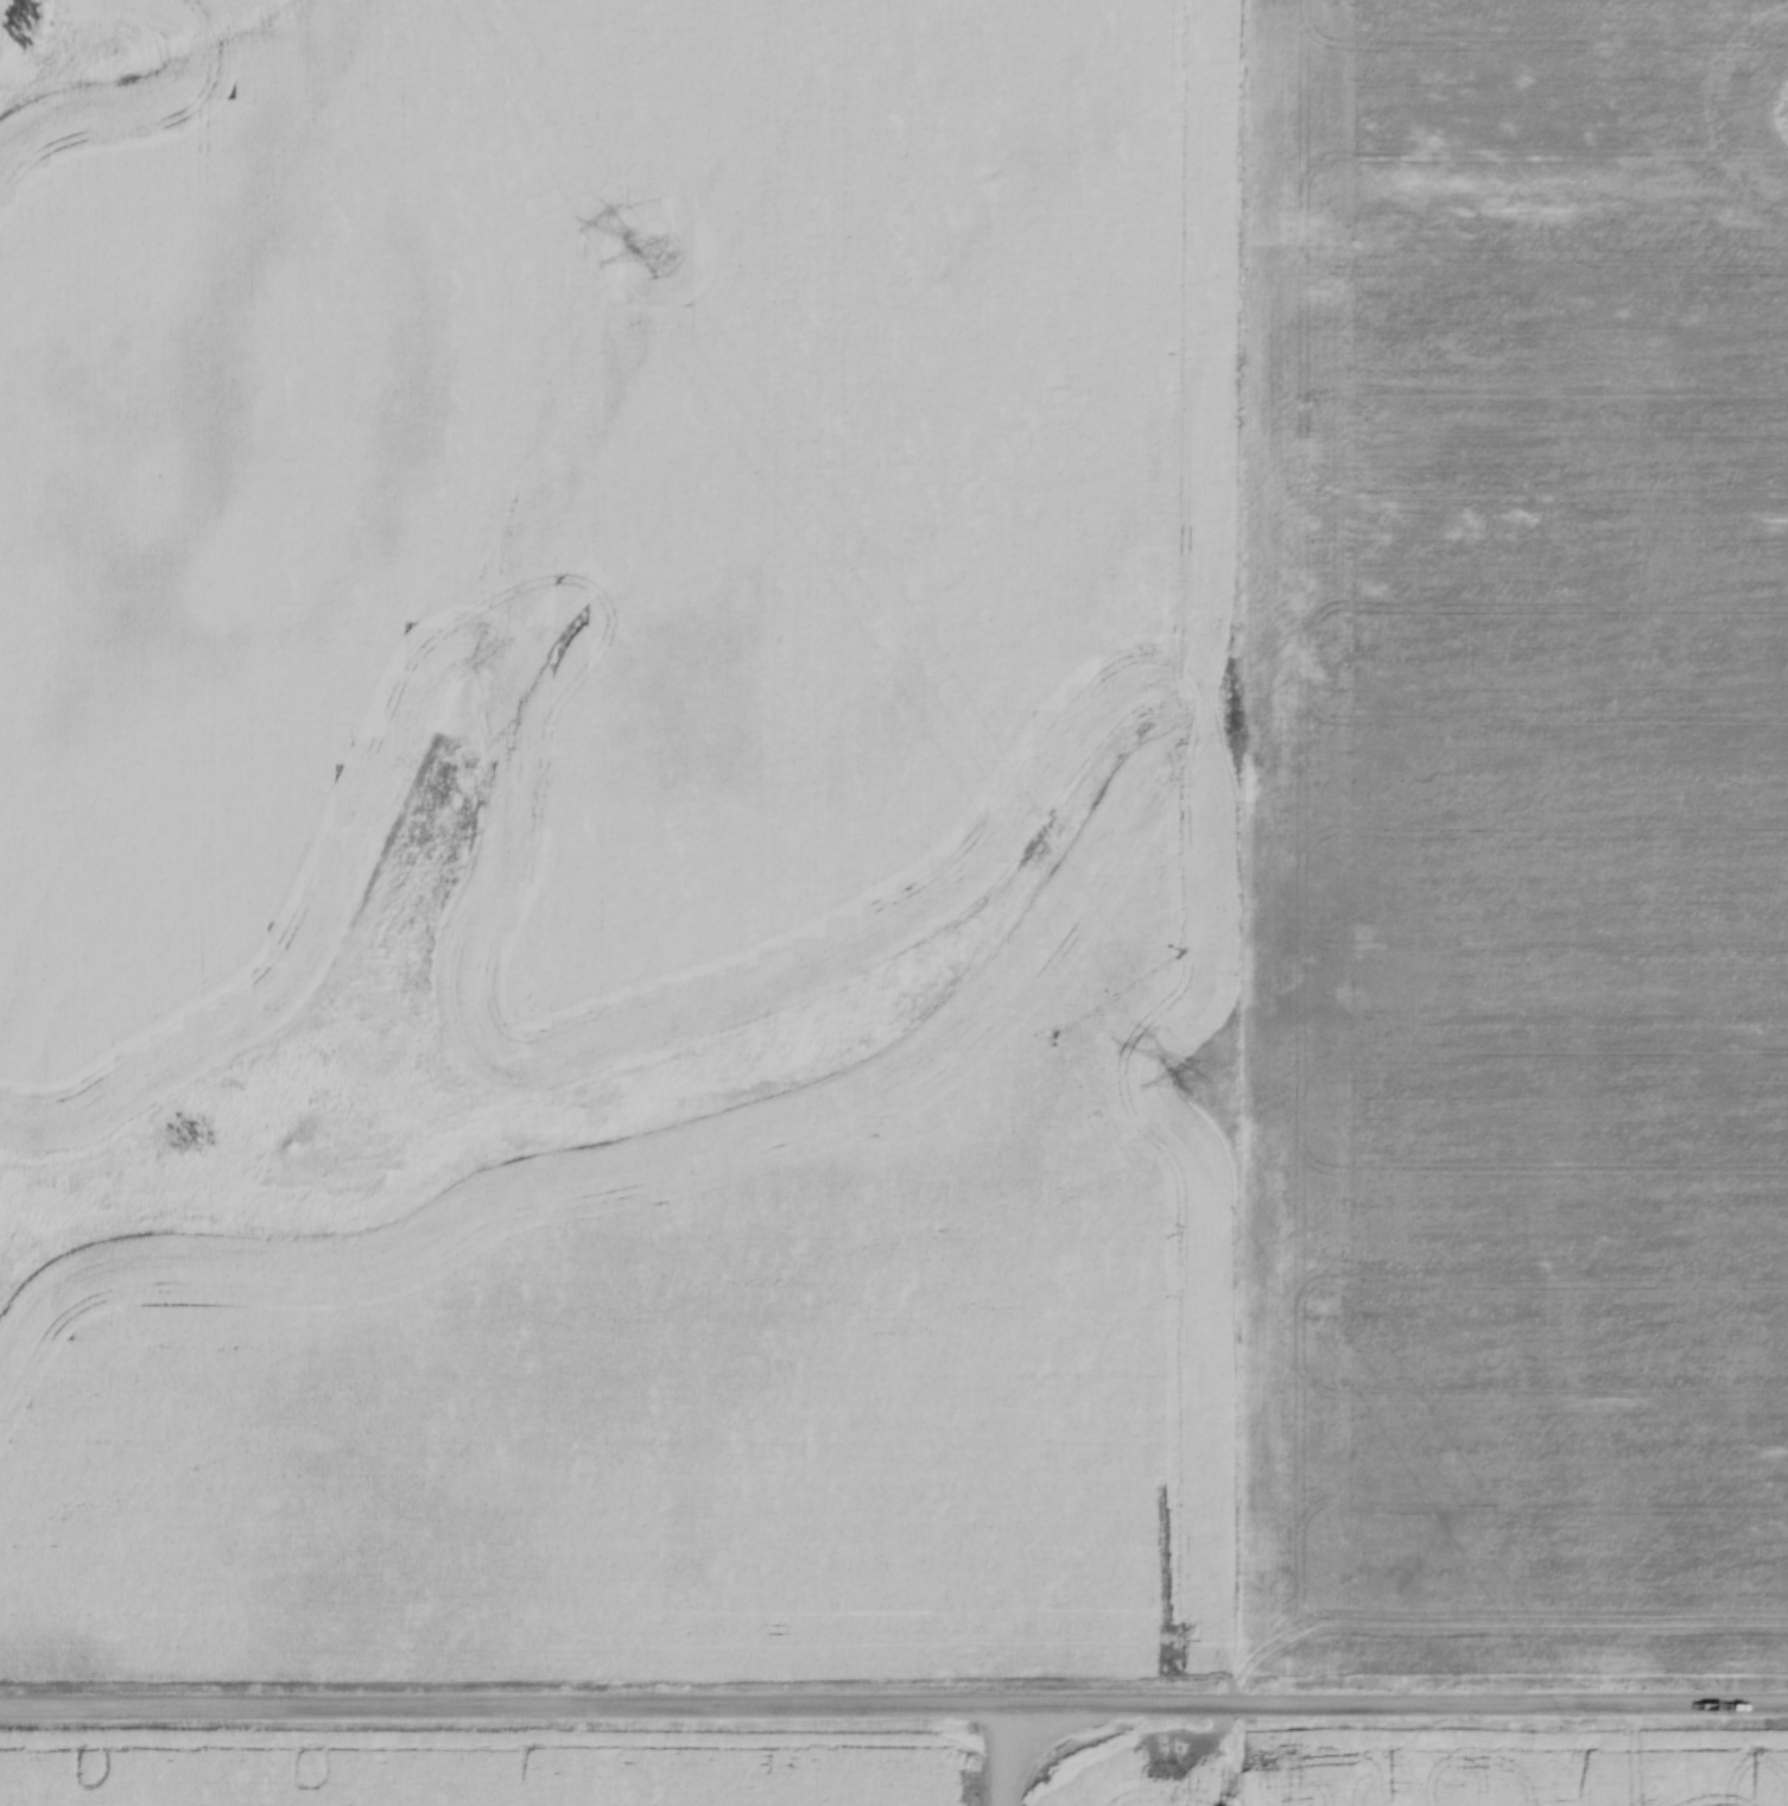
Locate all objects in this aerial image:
power tower: (649, 253)
power tower: (1188, 1081)
road: (894, 1704)

